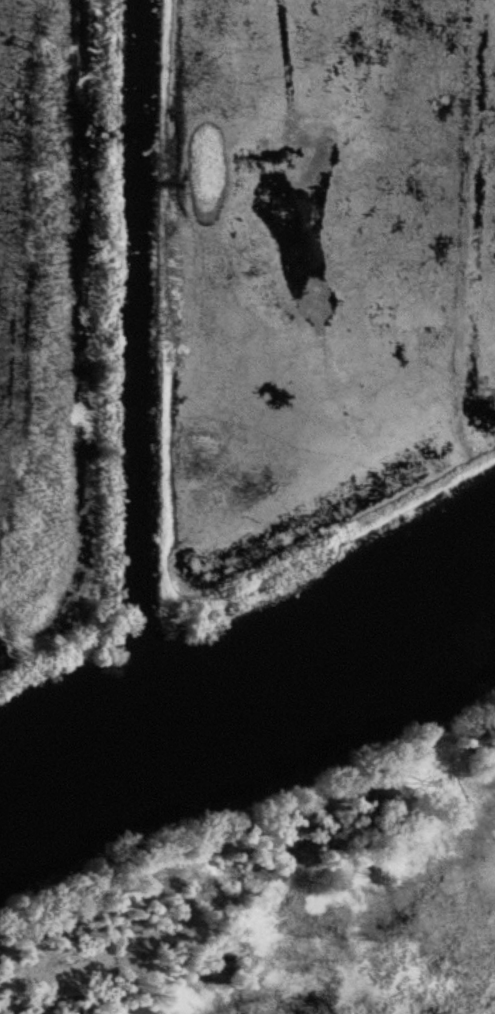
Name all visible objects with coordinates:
crop: (31, 293)
road: (98, 311)
river: (247, 682)

